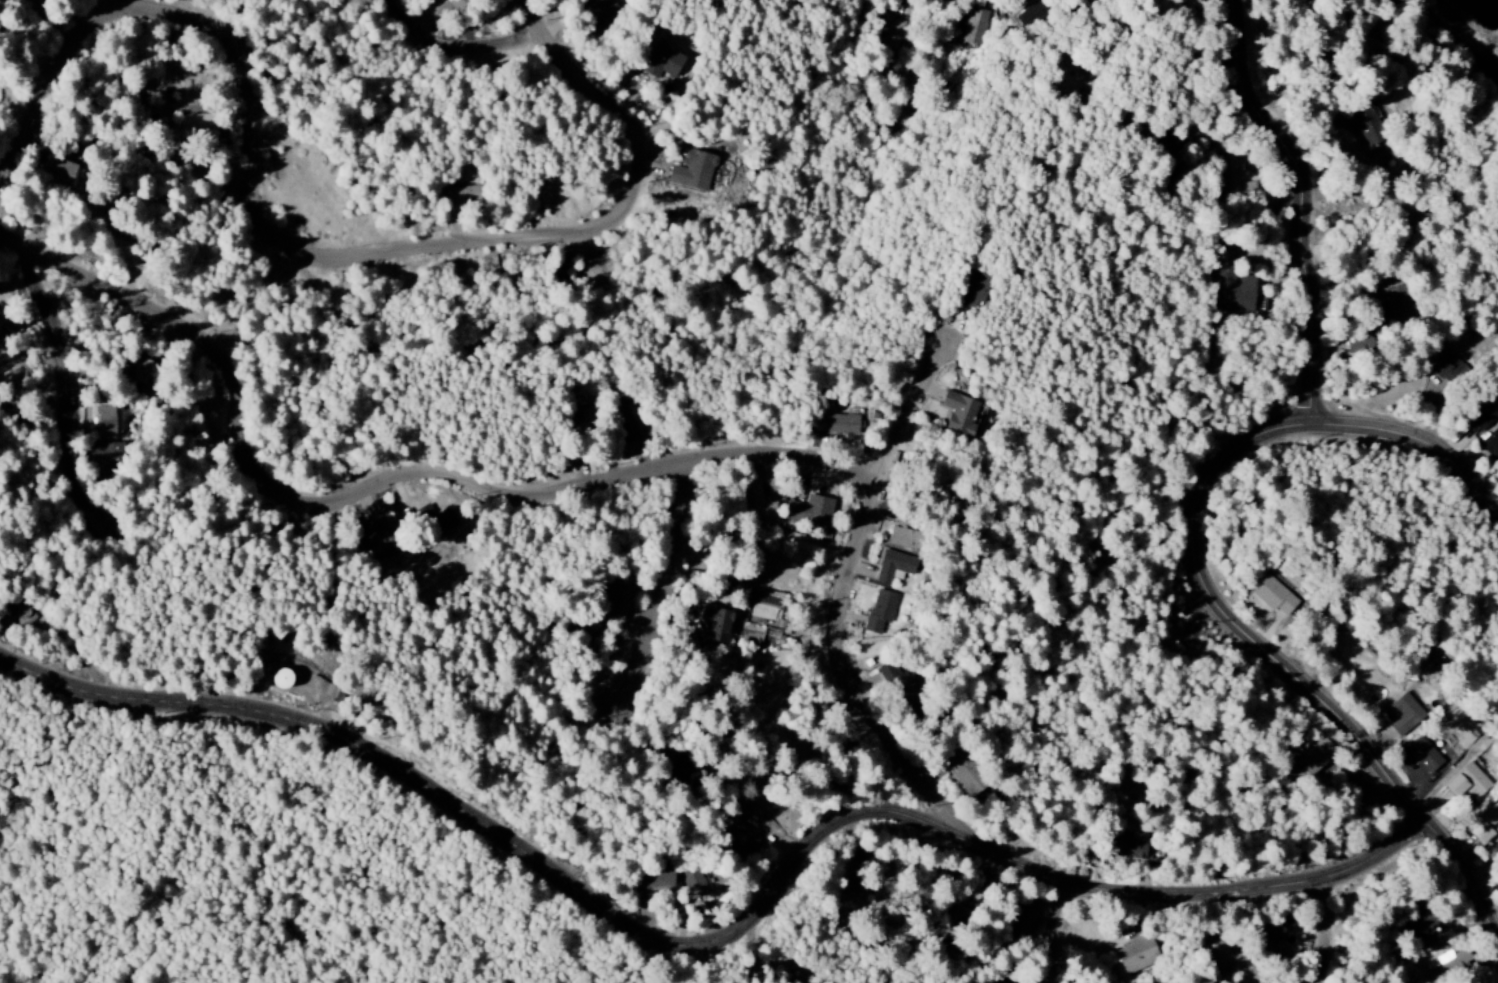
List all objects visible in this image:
road: (129, 5)
building: (601, 15)
building: (1028, 16)
building: (974, 26)
building: (891, 34)
road: (458, 50)
building: (662, 61)
building: (1369, 127)
building: (191, 129)
building: (1167, 143)
building: (56, 169)
building: (693, 171)
building: (1228, 173)
building: (461, 196)
road: (1310, 203)
road: (308, 253)
building: (563, 274)
building: (1232, 285)
building: (974, 288)
park: (1470, 289)
building: (1398, 303)
building: (1360, 344)
road: (935, 368)
building: (1448, 369)
road: (70, 379)
building: (961, 414)
building: (1483, 418)
building: (104, 420)
building: (623, 420)
building: (583, 421)
building: (834, 424)
building: (1491, 444)
building: (104, 455)
road: (382, 484)
building: (756, 505)
building: (809, 511)
building: (437, 520)
building: (381, 538)
building: (903, 538)
building: (894, 567)
road: (679, 587)
road: (1209, 588)
building: (1275, 596)
building: (612, 600)
building: (880, 610)
building: (716, 624)
road: (839, 634)
building: (281, 679)
building: (901, 691)
building: (1402, 715)
building: (1425, 755)
building: (1314, 756)
building: (684, 772)
building: (1468, 783)
building: (739, 812)
building: (1486, 822)
building: (736, 843)
building: (1132, 846)
building: (654, 881)
building: (692, 881)
building: (850, 890)
building: (1024, 918)
building: (1419, 923)
road: (1337, 929)
road: (1061, 932)
building: (1266, 935)
road: (721, 943)
building: (1220, 954)
building: (1137, 955)
building: (1456, 961)
building: (784, 973)
building: (1000, 980)

